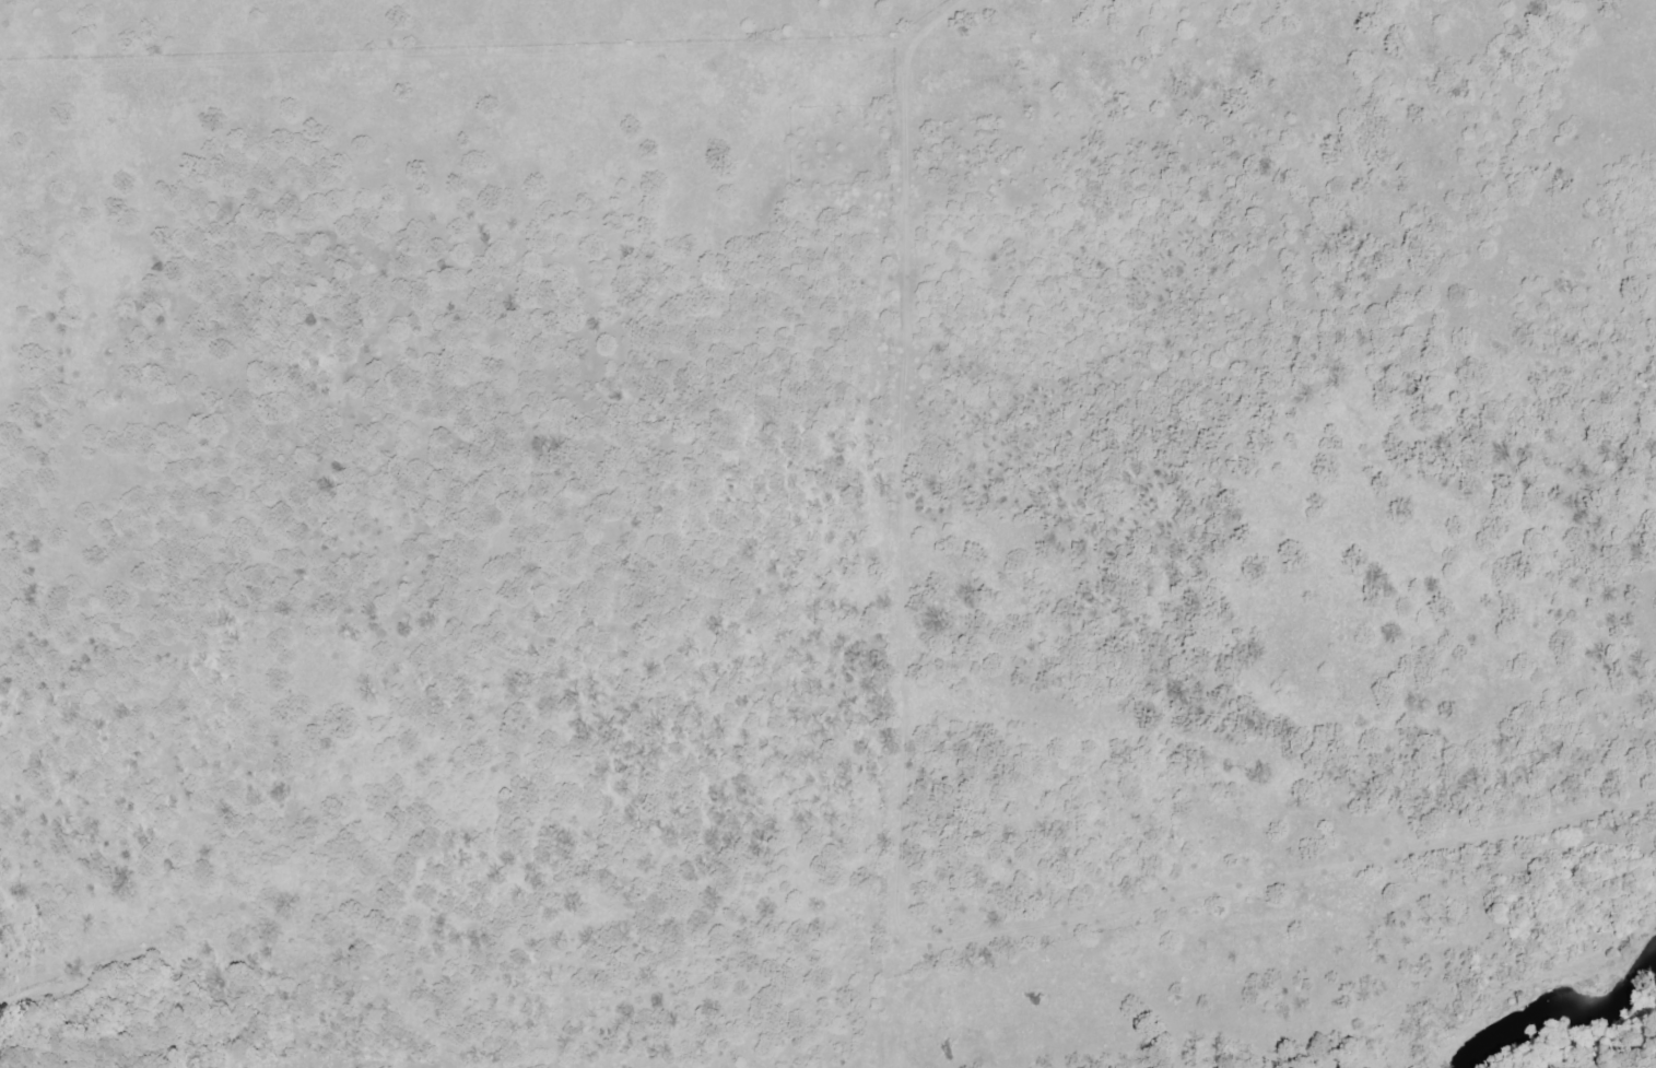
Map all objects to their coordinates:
river: (1550, 985)

